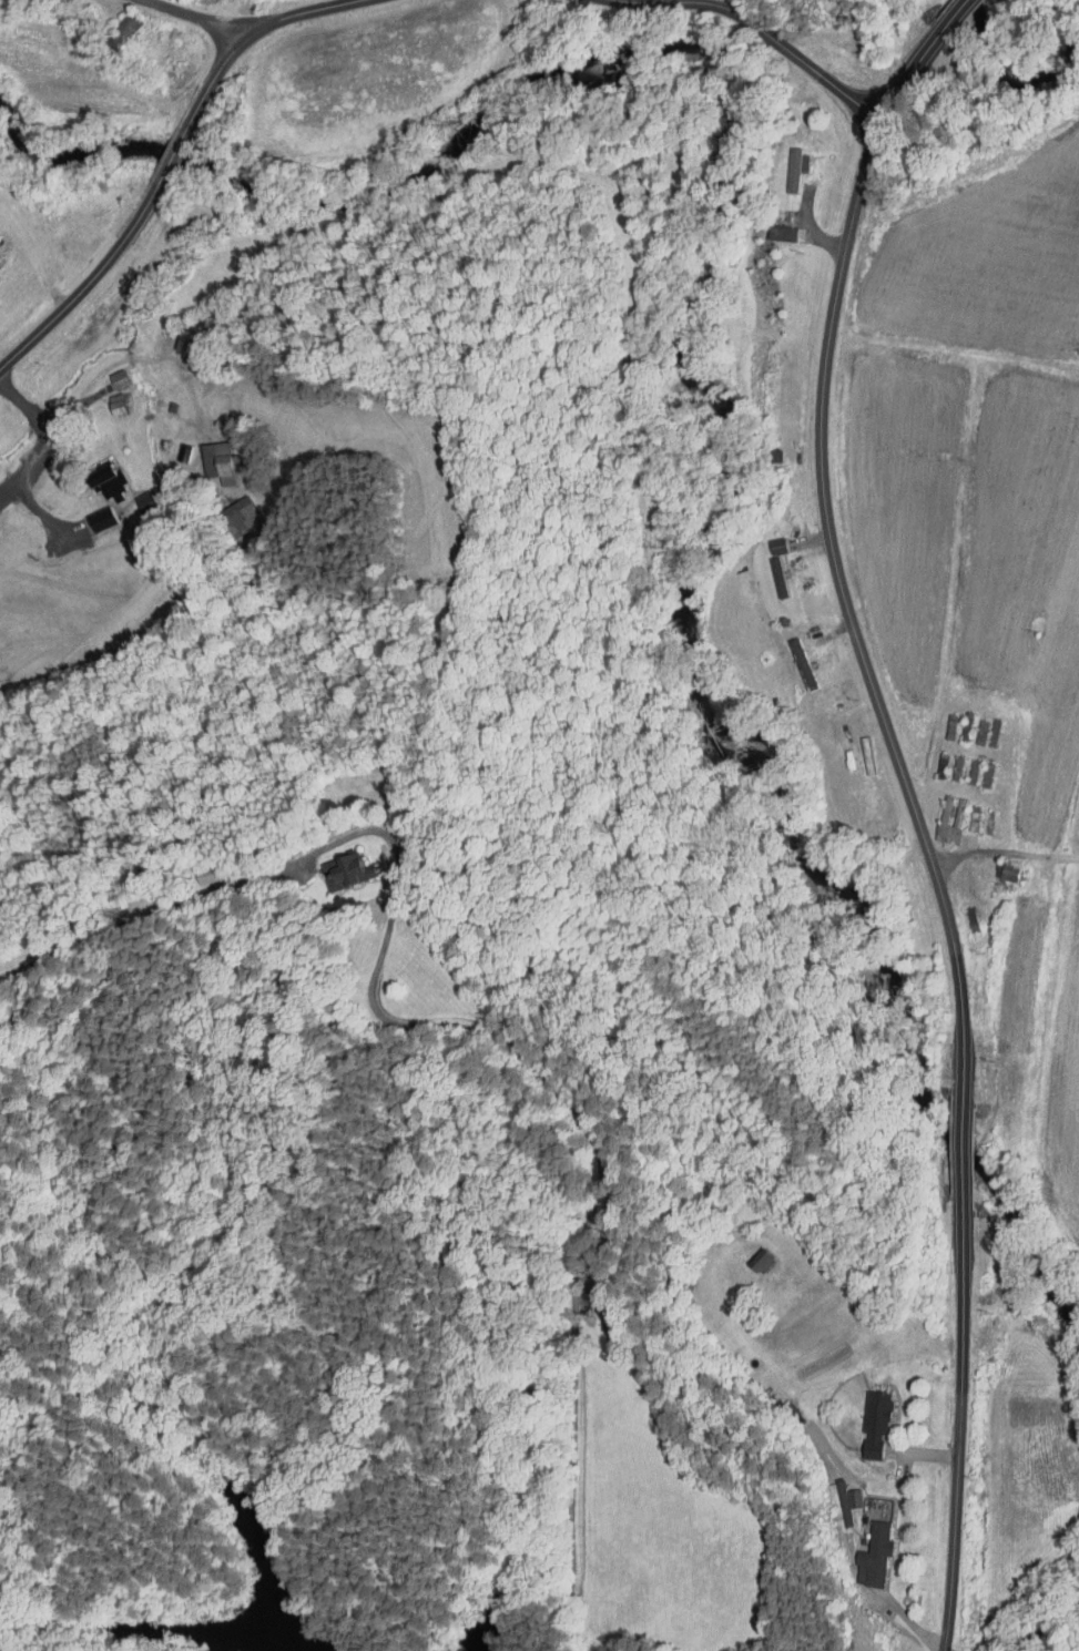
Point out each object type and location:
road: (347, 1)
road: (195, 17)
building: (126, 30)
road: (764, 32)
road: (248, 34)
road: (923, 57)
road: (171, 156)
building: (784, 162)
building: (800, 169)
building: (771, 228)
building: (786, 233)
building: (1, 261)
road: (86, 283)
building: (176, 336)
building: (193, 342)
building: (106, 373)
building: (122, 379)
building: (105, 397)
building: (120, 404)
building: (173, 406)
road: (72, 408)
building: (186, 452)
building: (777, 455)
building: (223, 462)
road: (28, 468)
building: (93, 473)
building: (111, 481)
road: (9, 489)
building: (131, 492)
building: (147, 500)
building: (88, 512)
building: (241, 517)
building: (102, 519)
building: (766, 539)
building: (766, 571)
building: (782, 577)
building: (444, 588)
road: (848, 615)
building: (791, 658)
building: (810, 667)
building: (954, 727)
building: (970, 727)
building: (985, 732)
building: (998, 732)
building: (945, 766)
building: (960, 767)
building: (976, 772)
building: (991, 776)
building: (948, 813)
building: (977, 818)
building: (990, 823)
building: (334, 865)
building: (197, 866)
building: (998, 866)
building: (349, 872)
building: (1014, 872)
building: (215, 873)
building: (976, 919)
road: (467, 1025)
road: (964, 1148)
building: (615, 1205)
building: (757, 1227)
building: (751, 1255)
building: (766, 1258)
building: (596, 1277)
building: (629, 1314)
building: (863, 1416)
road: (959, 1420)
building: (878, 1421)
building: (844, 1501)
building: (862, 1550)
building: (877, 1555)
road: (904, 1614)

